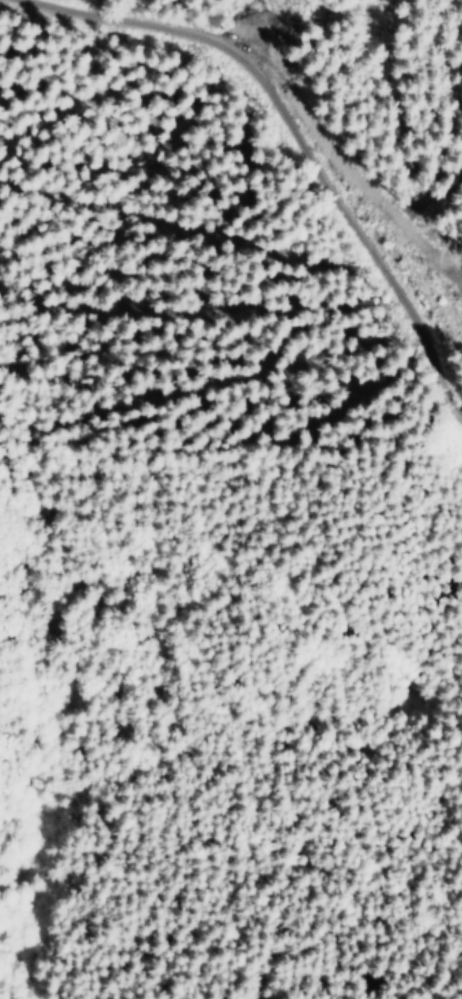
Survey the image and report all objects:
road: (404, 12)

